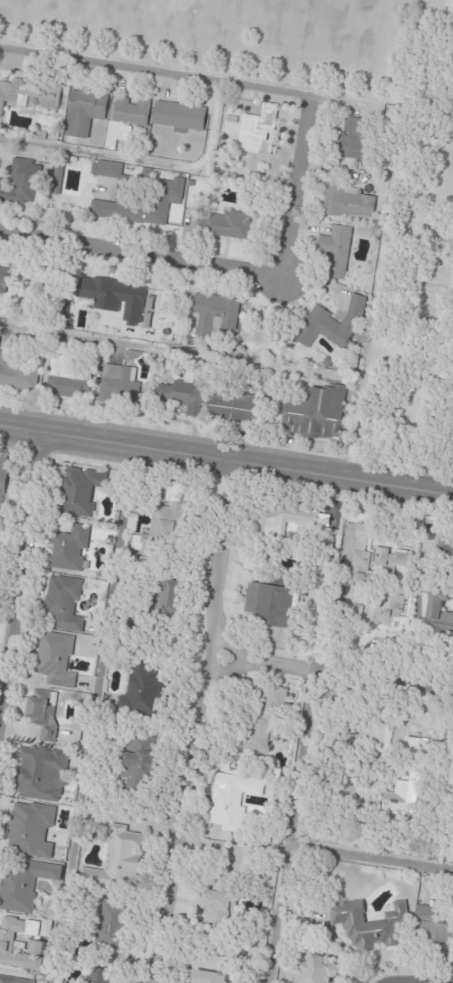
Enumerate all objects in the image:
road: (155, 69)
building: (29, 95)
road: (381, 108)
building: (84, 113)
building: (179, 116)
building: (128, 117)
building: (258, 130)
building: (353, 138)
building: (22, 183)
road: (297, 187)
building: (138, 196)
building: (347, 203)
building: (225, 225)
building: (336, 251)
road: (142, 253)
building: (4, 278)
building: (115, 297)
building: (217, 314)
building: (334, 325)
building: (16, 373)
building: (69, 379)
building: (119, 386)
building: (184, 394)
building: (232, 408)
building: (316, 413)
road: (226, 462)
building: (3, 477)
building: (81, 491)
building: (0, 515)
building: (168, 518)
building: (284, 519)
building: (70, 549)
building: (445, 550)
building: (394, 558)
building: (362, 566)
road: (23, 579)
building: (173, 597)
building: (64, 603)
building: (271, 605)
building: (385, 609)
building: (439, 614)
building: (56, 659)
road: (336, 676)
building: (144, 691)
building: (43, 713)
building: (266, 719)
road: (199, 721)
building: (140, 763)
building: (43, 774)
building: (405, 795)
building: (231, 800)
road: (292, 828)
building: (31, 830)
road: (371, 857)
building: (124, 859)
building: (25, 885)
building: (219, 897)
building: (111, 923)
building: (369, 925)
building: (432, 926)
building: (7, 947)
building: (320, 968)
building: (102, 976)
building: (209, 977)
building: (15, 980)
road: (396, 982)

